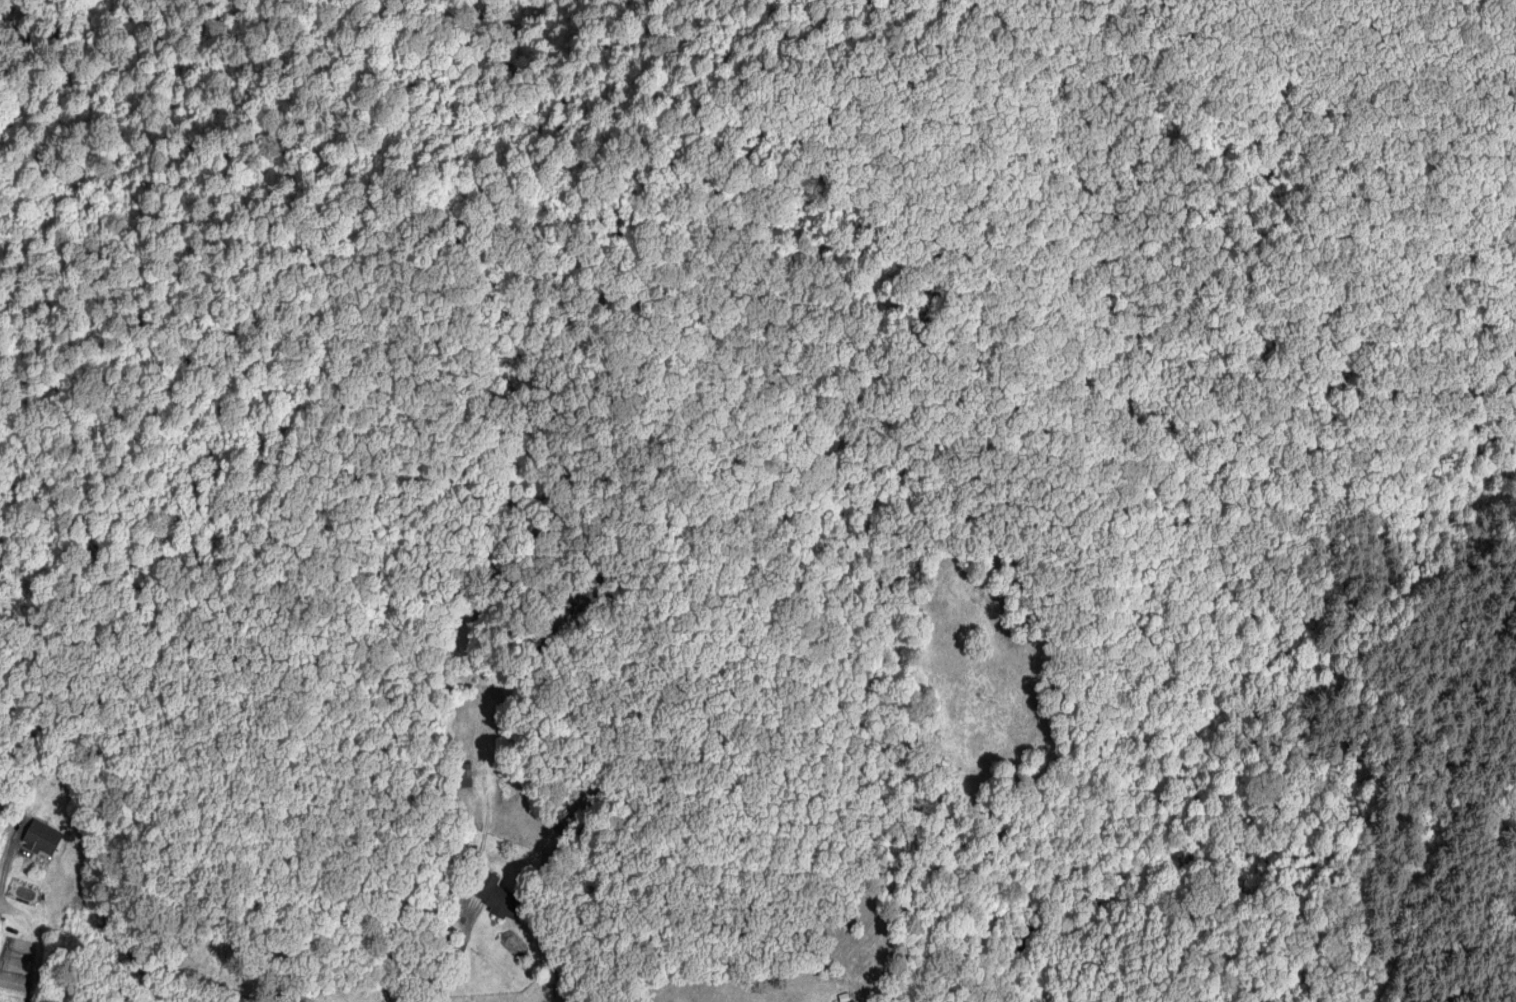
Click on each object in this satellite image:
building: (1044, 748)
building: (42, 839)
building: (497, 897)

